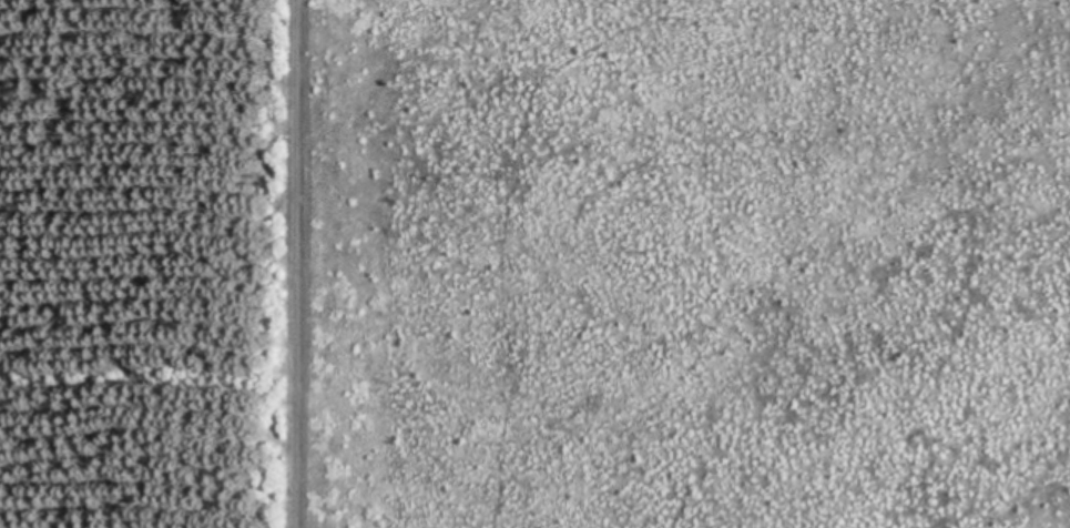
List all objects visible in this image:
road: (286, 264)

